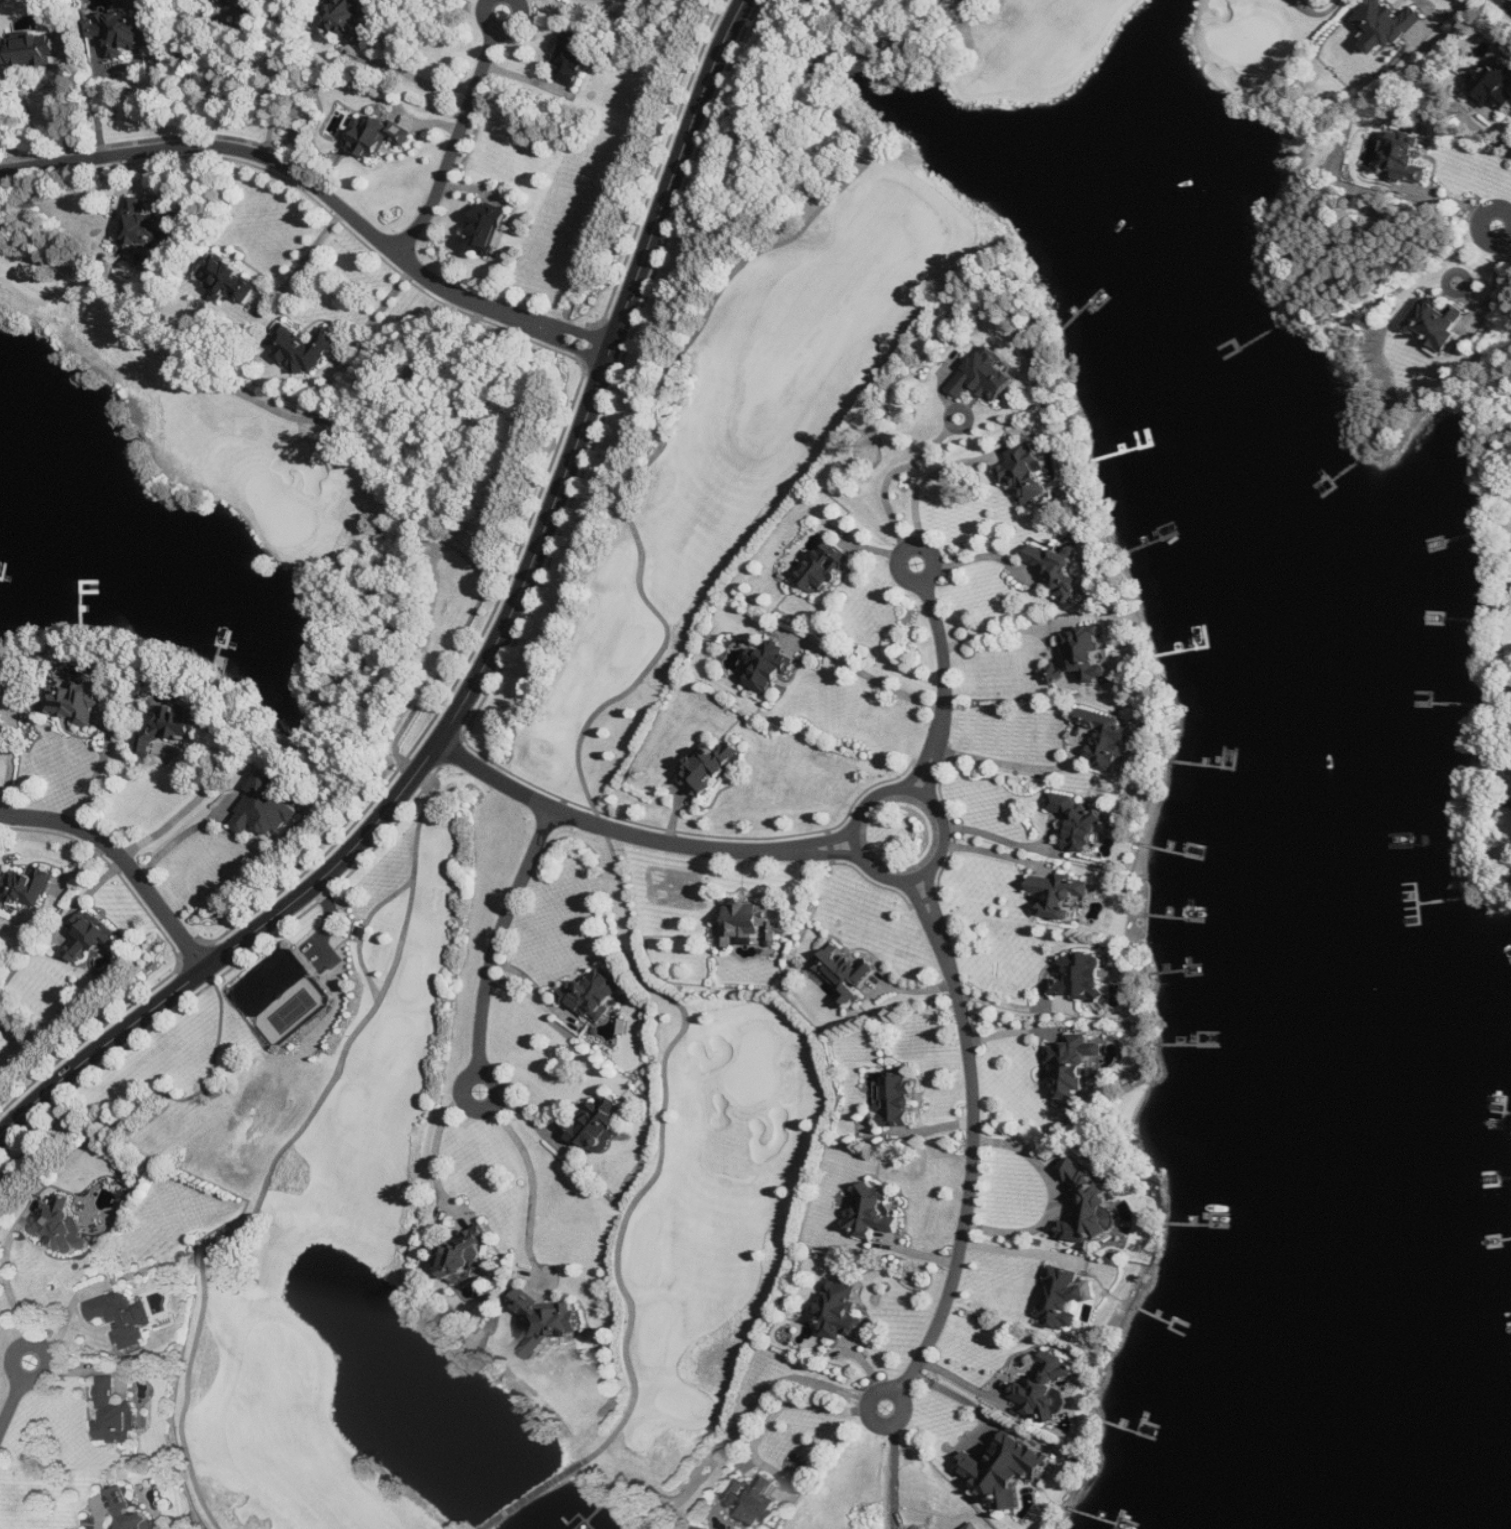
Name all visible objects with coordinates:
road: (523, 2)
road: (1508, 2)
building: (249, 8)
road: (1317, 13)
building: (351, 22)
building: (1386, 25)
road: (503, 30)
building: (122, 31)
park: (1252, 43)
building: (30, 51)
road: (182, 66)
road: (409, 74)
road: (278, 79)
building: (1493, 84)
road: (98, 108)
road: (67, 111)
road: (1502, 122)
building: (378, 137)
road: (454, 146)
building: (1406, 158)
road: (322, 190)
building: (148, 226)
building: (487, 230)
road: (1510, 232)
road: (1510, 233)
road: (307, 258)
building: (229, 280)
road: (1490, 302)
road: (379, 311)
building: (1436, 325)
building: (304, 349)
building: (987, 376)
road: (895, 472)
building: (1027, 474)
road: (922, 483)
road: (984, 555)
building: (826, 568)
building: (1060, 569)
road: (923, 581)
road: (990, 633)
road: (493, 652)
building: (1082, 657)
road: (658, 659)
building: (768, 668)
road: (870, 676)
road: (945, 687)
building: (76, 701)
building: (3, 716)
building: (173, 728)
building: (1111, 739)
road: (399, 753)
road: (11, 763)
road: (1005, 763)
park: (569, 765)
building: (711, 767)
road: (97, 775)
road: (192, 804)
building: (269, 809)
road: (676, 815)
building: (1079, 823)
road: (996, 835)
road: (638, 836)
road: (179, 839)
road: (997, 854)
road: (863, 855)
road: (123, 861)
building: (29, 887)
building: (1060, 895)
building: (744, 924)
building: (364, 929)
road: (366, 931)
parking lot: (324, 935)
road: (499, 936)
building: (93, 937)
building: (845, 974)
building: (1084, 978)
park: (269, 980)
road: (535, 986)
building: (594, 994)
building: (282, 995)
park: (282, 995)
road: (1006, 1003)
park: (294, 1010)
road: (1015, 1032)
building: (1076, 1065)
building: (897, 1100)
road: (483, 1108)
building: (596, 1126)
road: (974, 1139)
road: (435, 1148)
road: (534, 1181)
road: (1057, 1198)
building: (1088, 1206)
building: (876, 1214)
building: (62, 1225)
road: (1010, 1250)
building: (464, 1255)
road: (5, 1274)
building: (1066, 1298)
building: (839, 1312)
building: (124, 1318)
building: (548, 1321)
road: (39, 1345)
road: (962, 1381)
building: (1049, 1390)
road: (963, 1400)
road: (12, 1406)
road: (775, 1412)
building: (116, 1415)
road: (877, 1421)
road: (742, 1425)
building: (1008, 1470)
road: (896, 1476)
road: (540, 1493)
building: (755, 1500)
pier: (607, 1504)
building: (129, 1511)
pier: (588, 1521)

